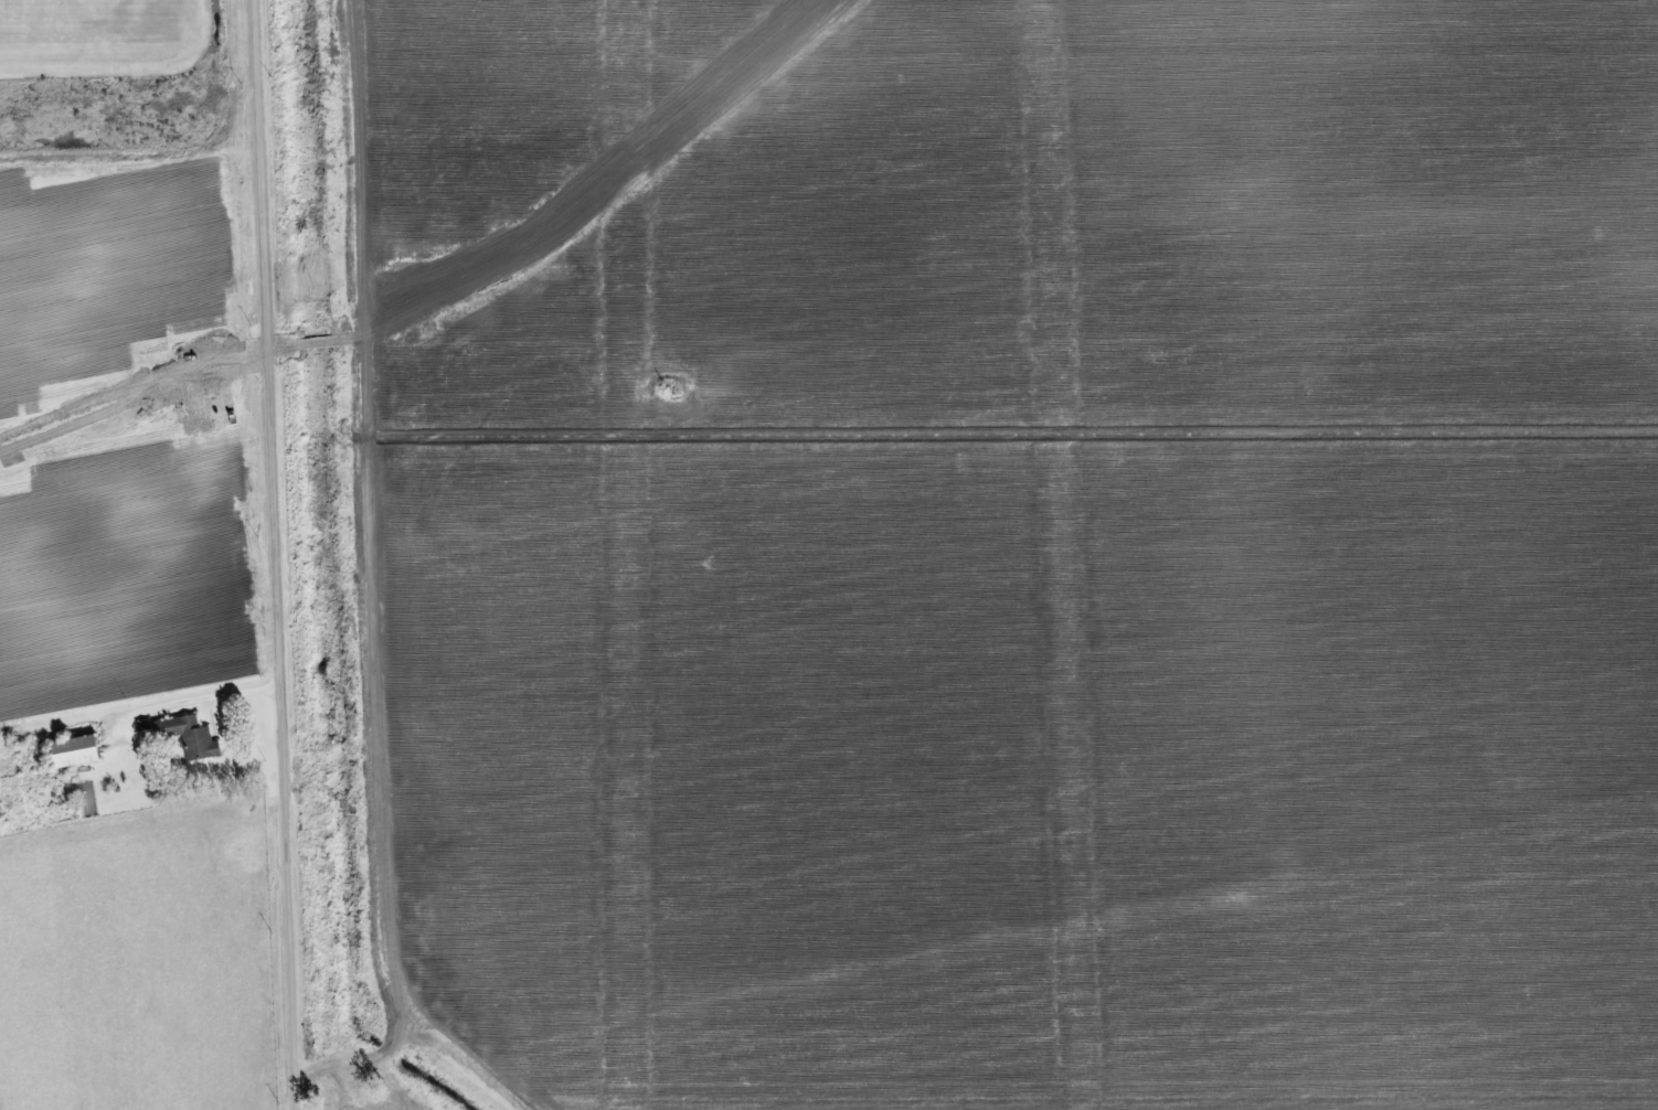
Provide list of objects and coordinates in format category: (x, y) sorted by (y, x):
road: (275, 555)
building: (192, 738)
building: (79, 753)

